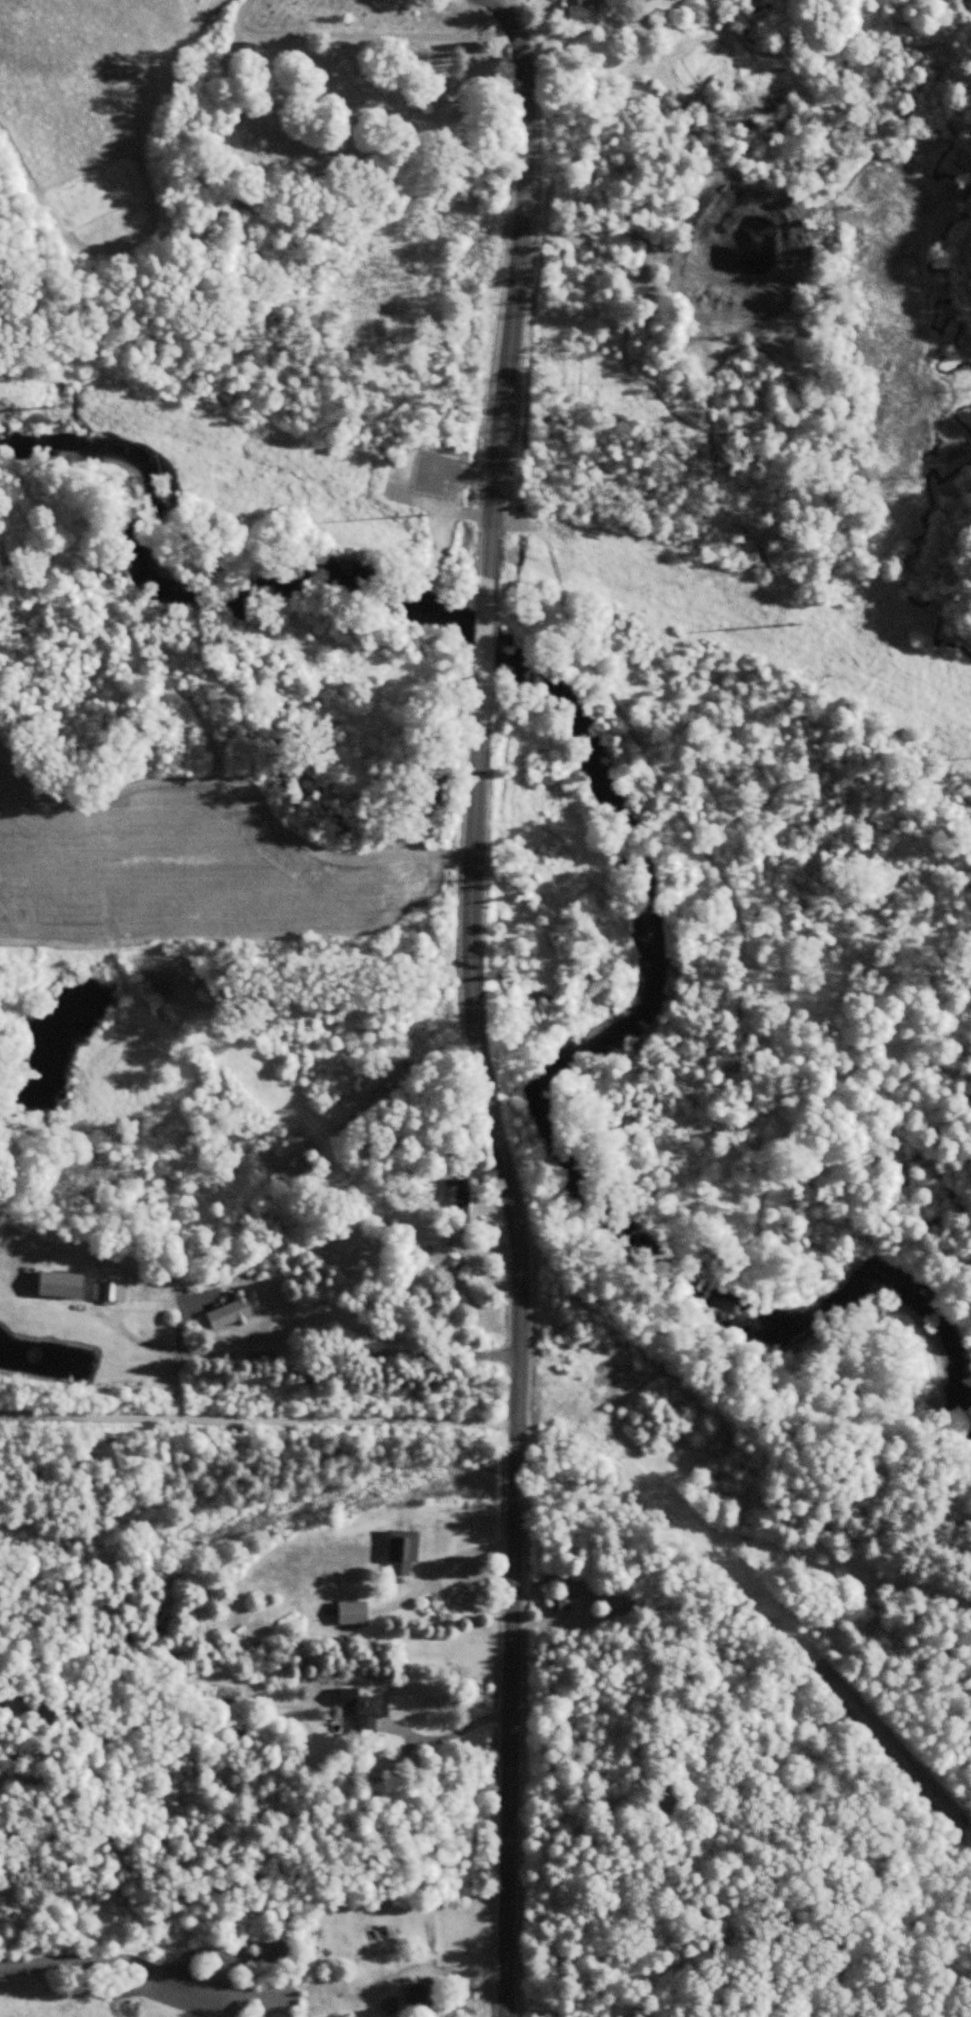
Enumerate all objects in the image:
building: (583, 8)
road: (509, 23)
road: (354, 37)
building: (248, 50)
park: (335, 98)
road: (435, 120)
road: (513, 324)
power tower: (42, 398)
power tower: (412, 506)
power tower: (785, 614)
road: (485, 651)
river: (633, 869)
building: (462, 1206)
building: (63, 1287)
building: (109, 1292)
building: (230, 1314)
road: (521, 1359)
road: (258, 1423)
building: (402, 1557)
building: (560, 1604)
building: (354, 1615)
building: (364, 1709)
road: (448, 1737)
building: (421, 1996)

